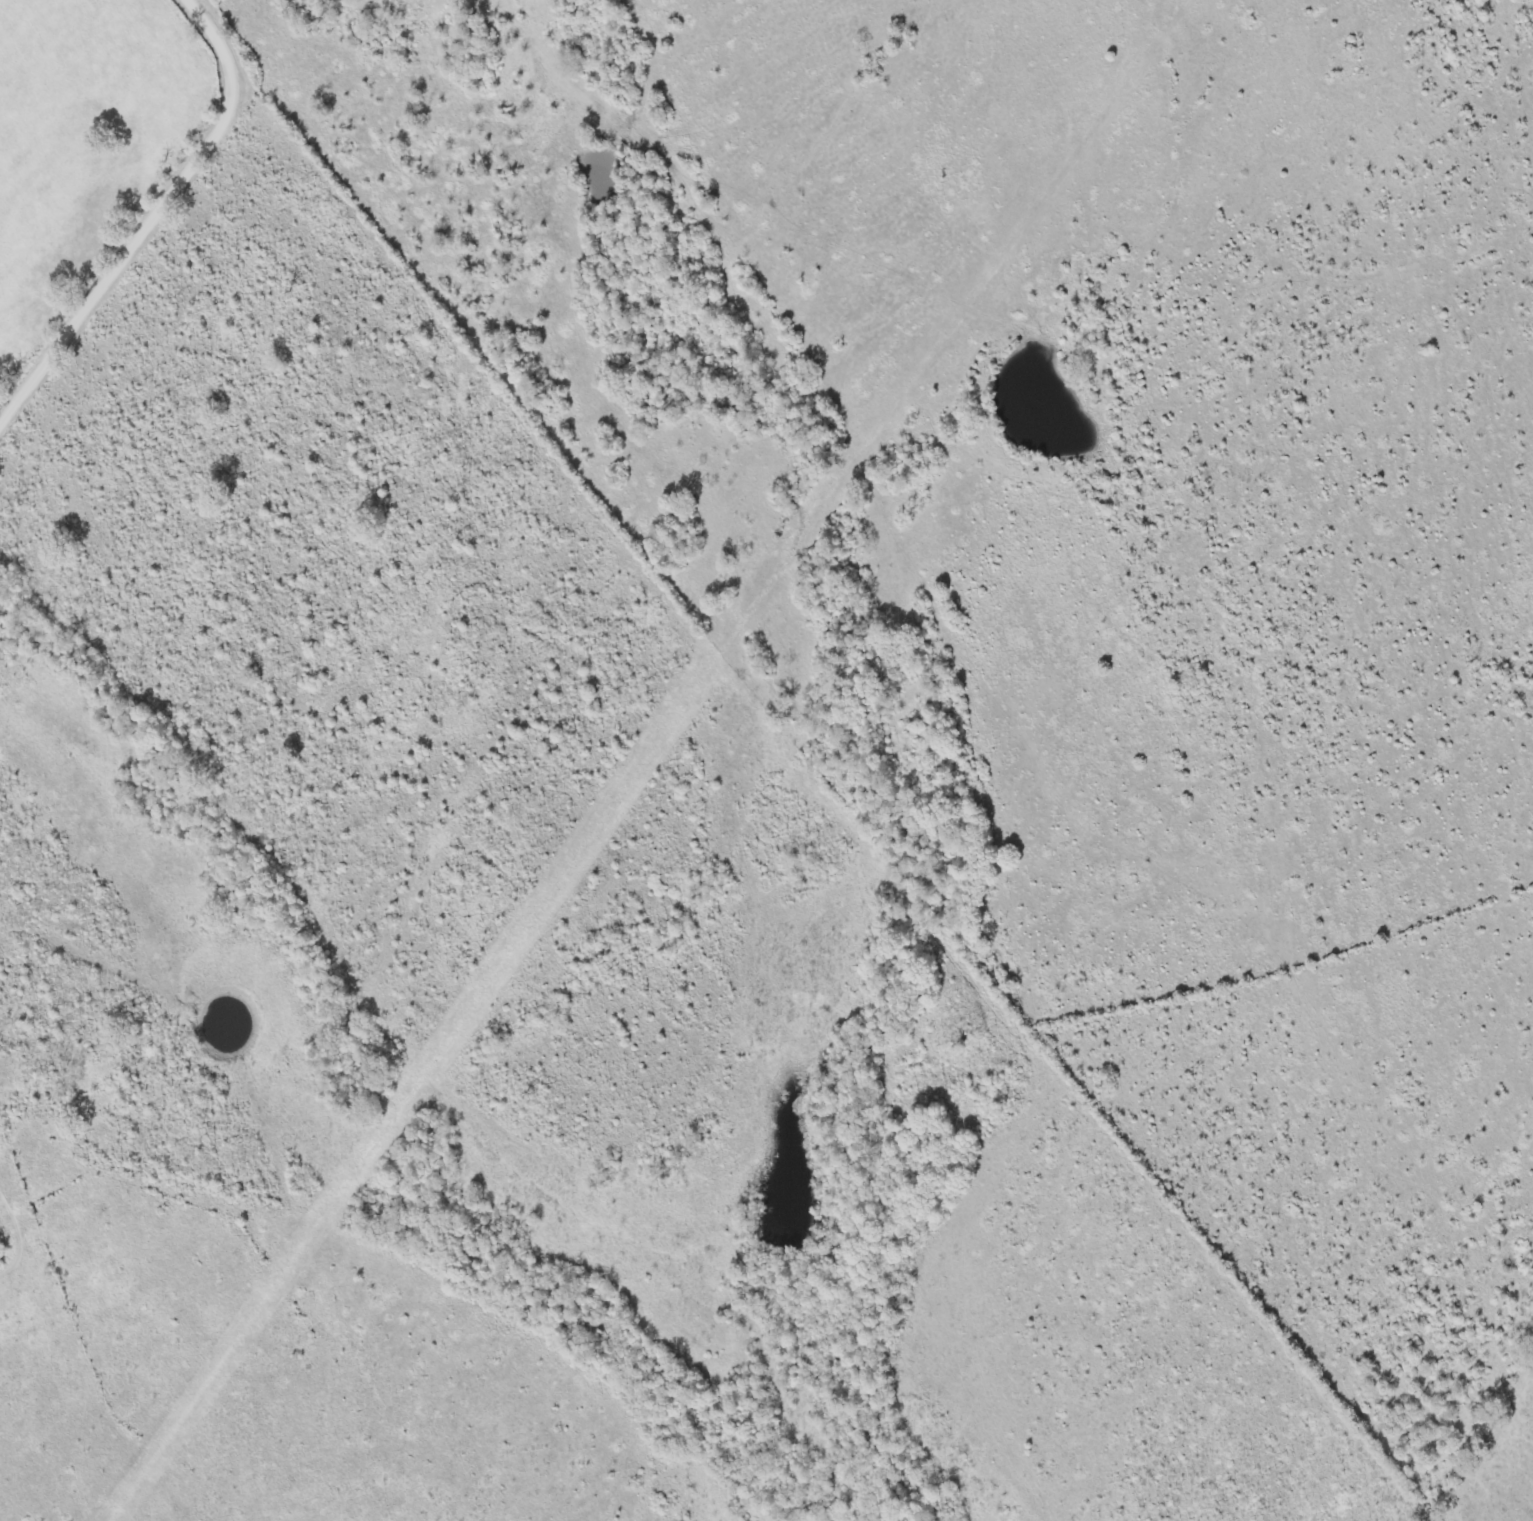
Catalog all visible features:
road: (152, 224)
road: (36, 1150)

